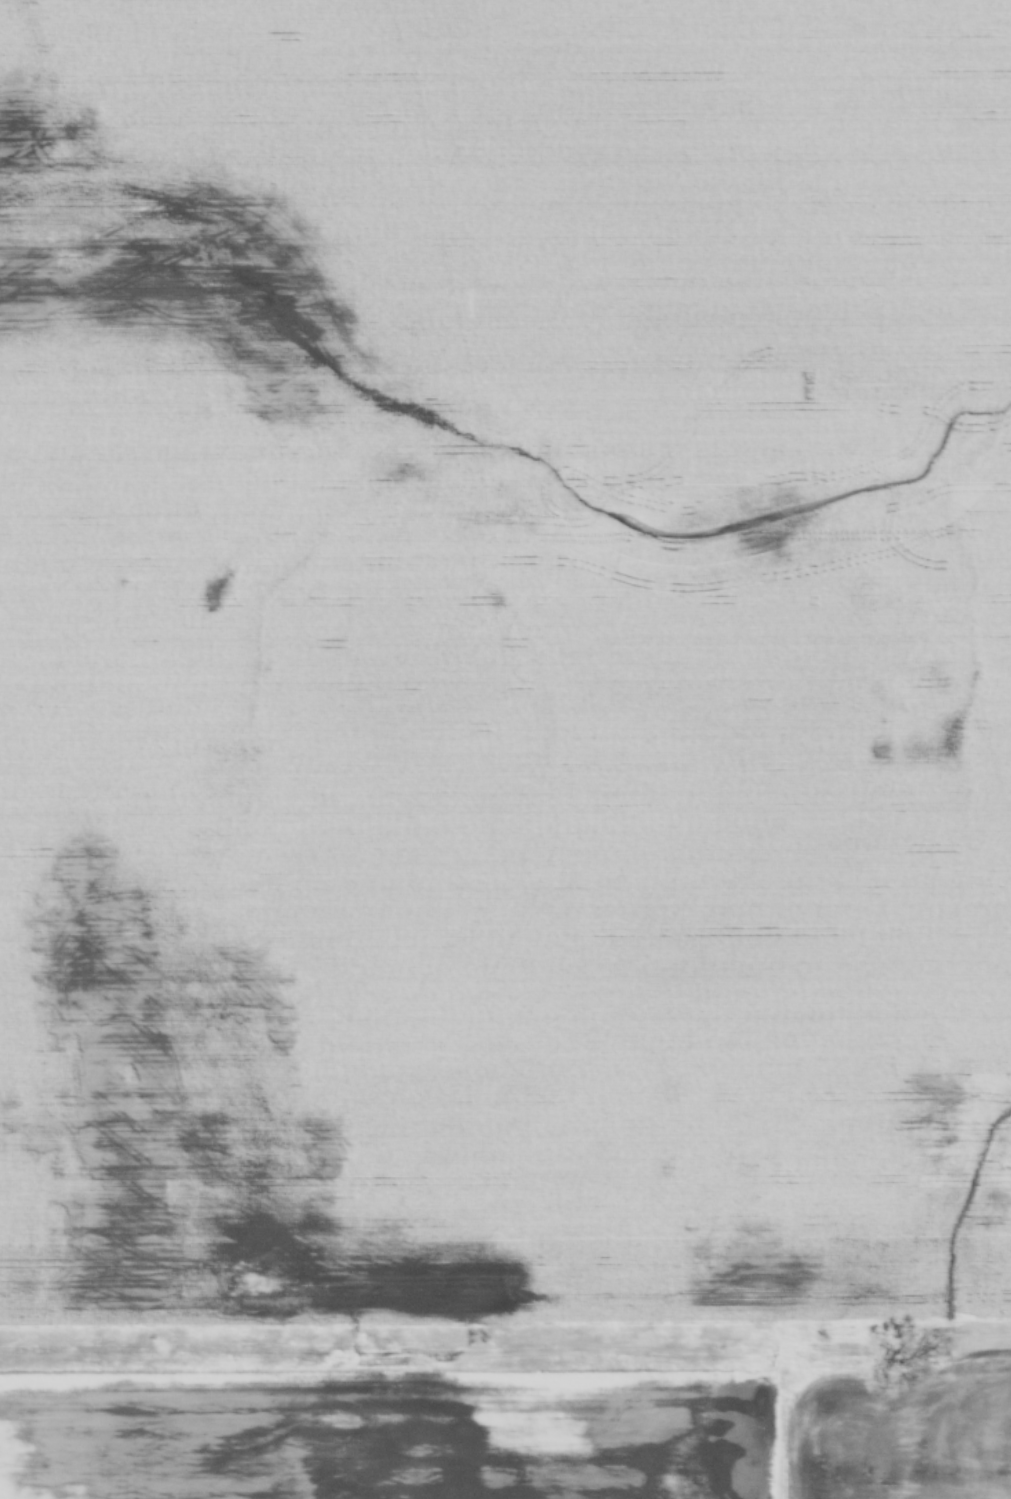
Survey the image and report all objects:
road: (505, 1349)

